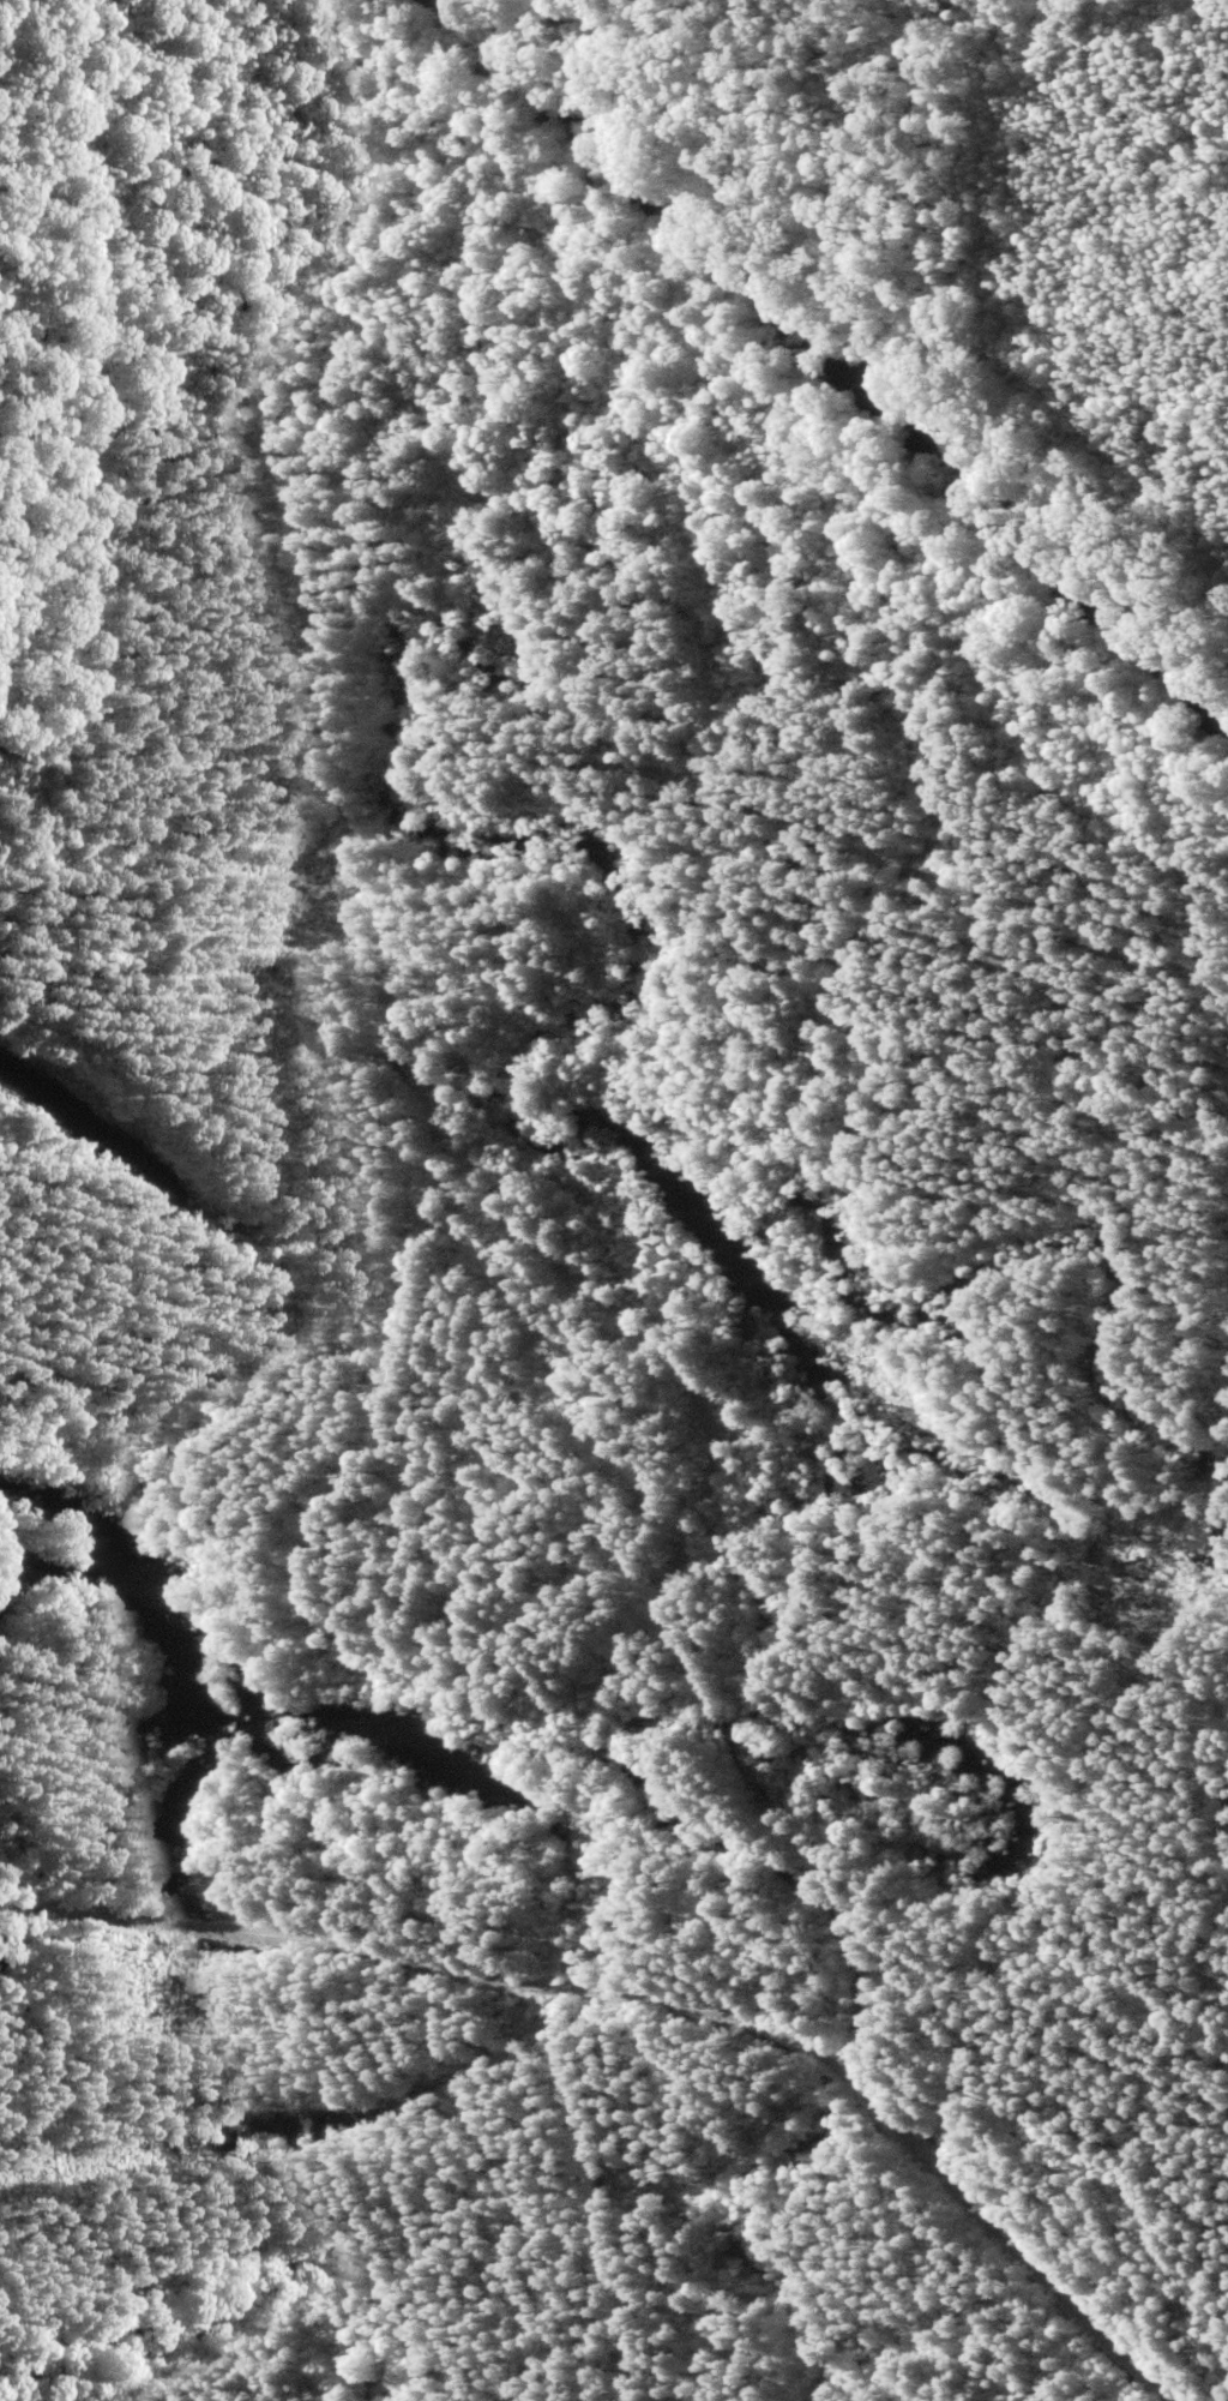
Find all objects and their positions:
road: (673, 1989)

